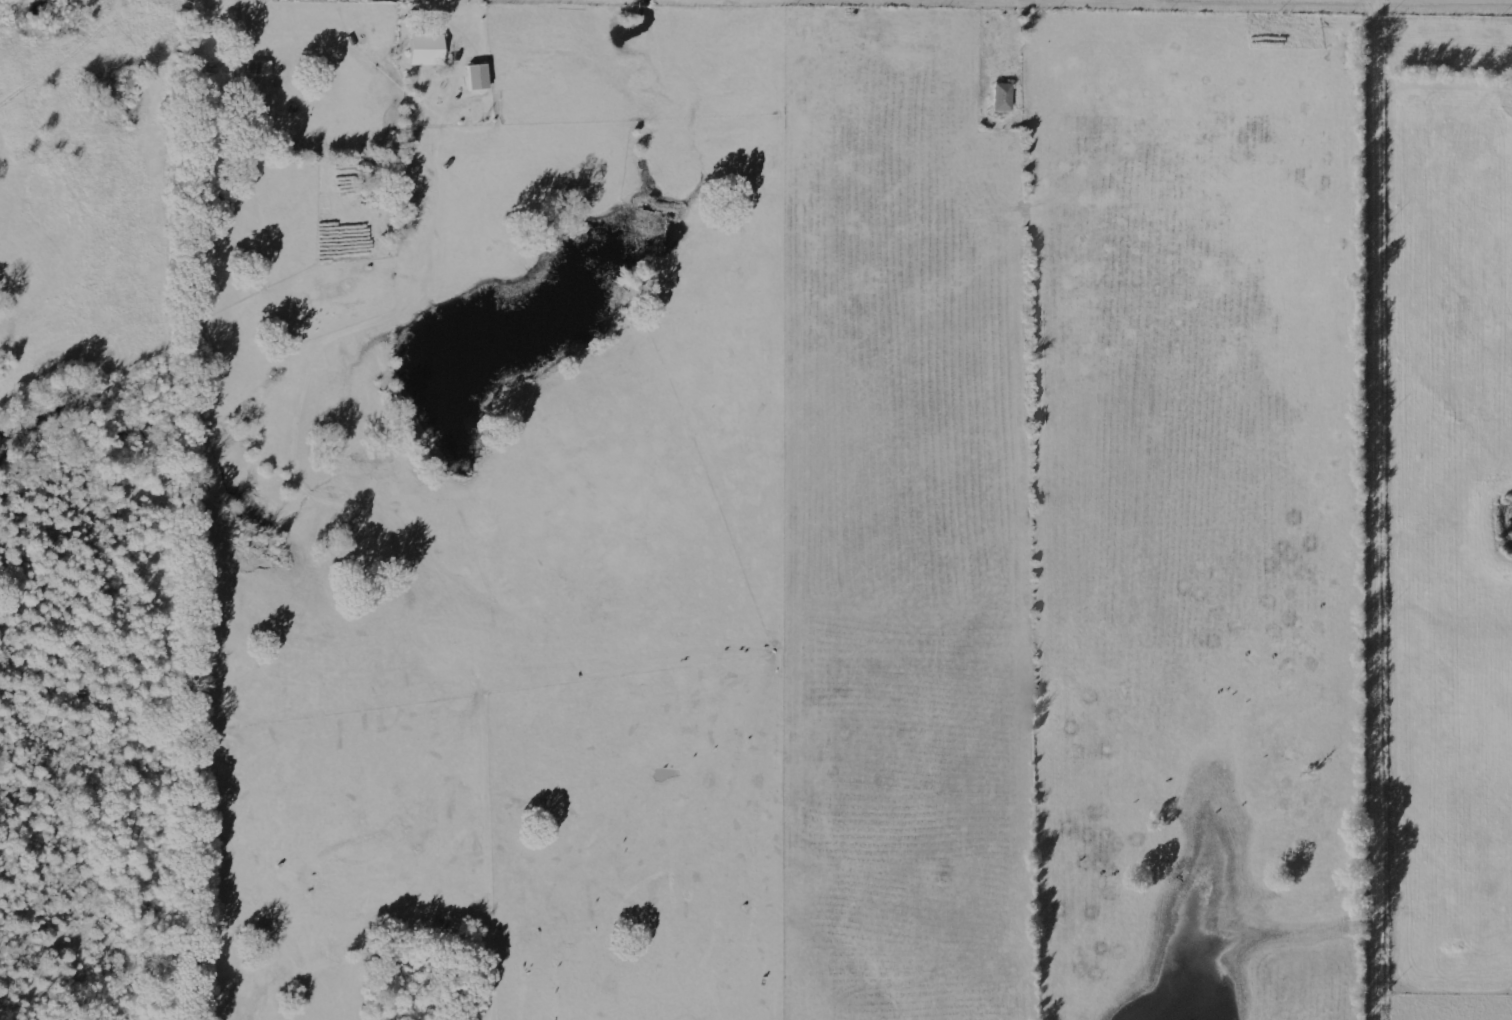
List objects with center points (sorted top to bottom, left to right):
building: (473, 77)
building: (998, 97)
road: (1384, 509)

